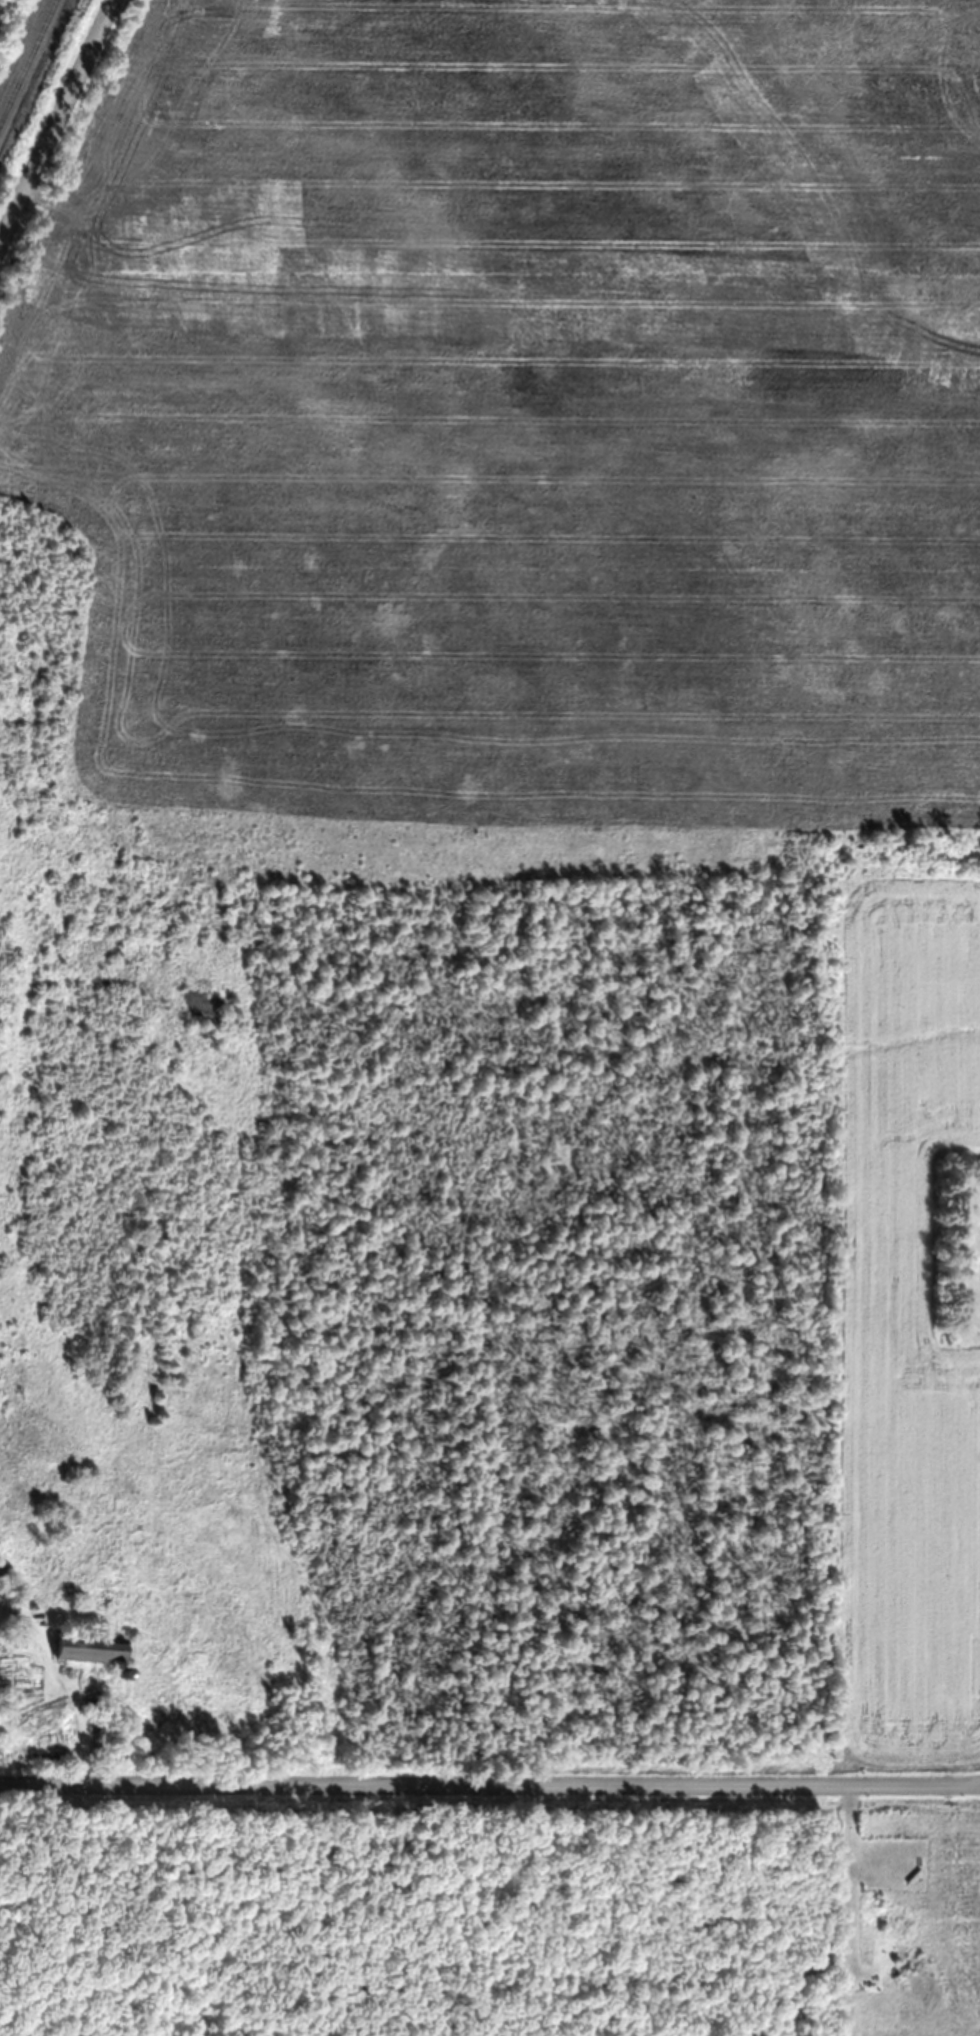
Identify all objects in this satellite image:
railway: (28, 61)
road: (57, 124)
building: (3, 1568)
building: (92, 1650)
building: (90, 1700)
building: (102, 1736)
road: (490, 1784)

